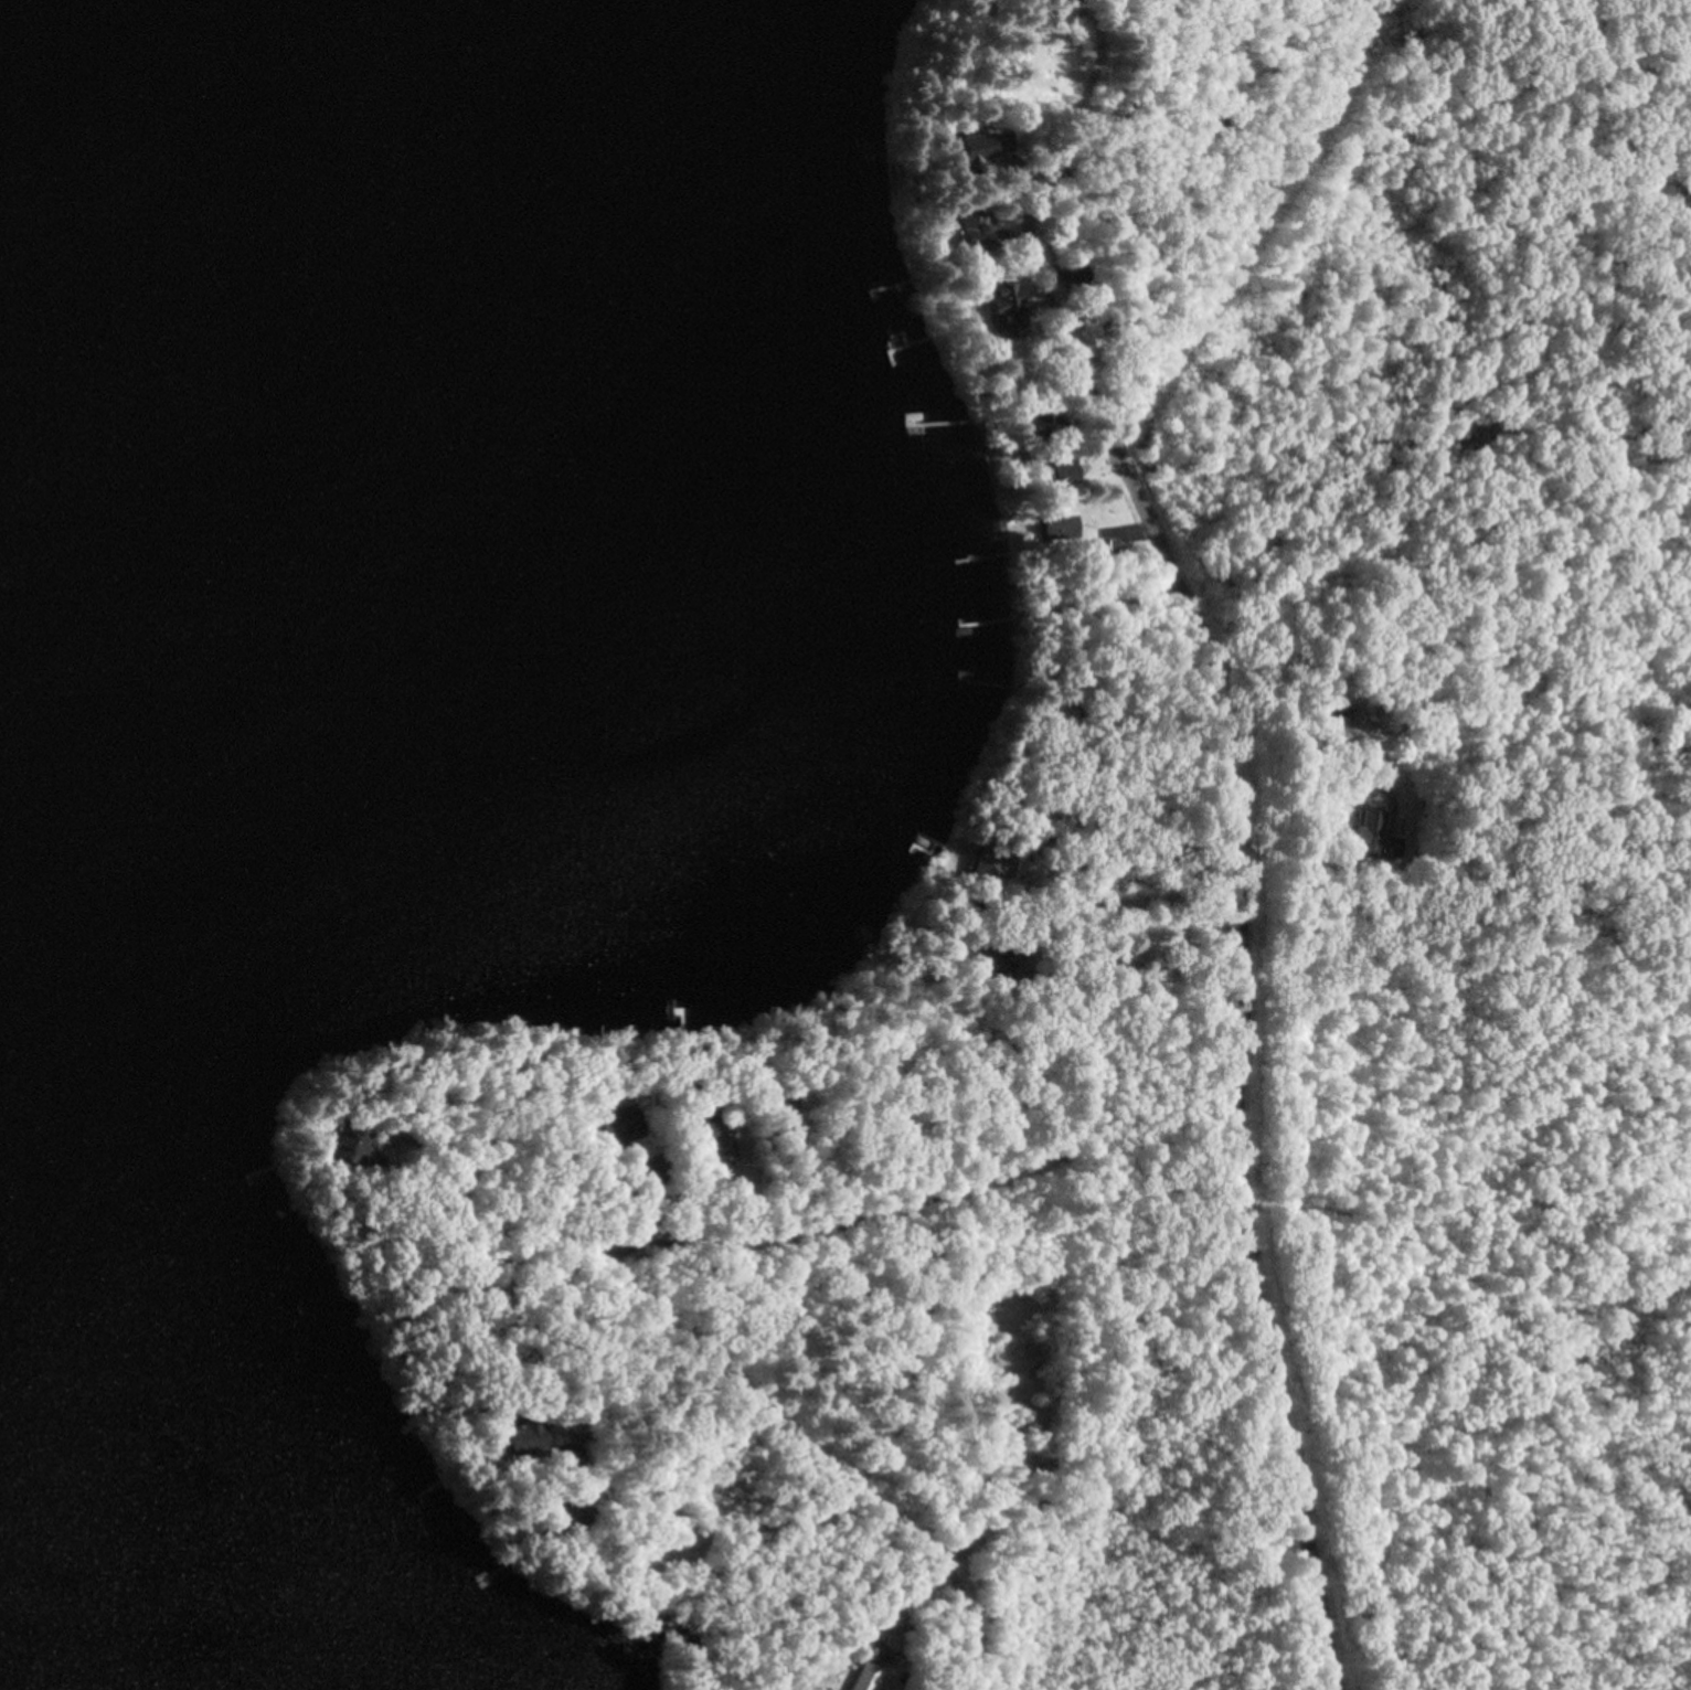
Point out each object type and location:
building: (974, 149)
building: (969, 224)
building: (1001, 306)
building: (1061, 470)
building: (1057, 527)
road: (1118, 551)
road: (1127, 620)
road: (1264, 828)
building: (1369, 831)
road: (793, 1064)
building: (779, 1112)
building: (623, 1125)
road: (451, 1135)
building: (710, 1136)
building: (343, 1144)
road: (677, 1346)
road: (620, 1348)
building: (524, 1435)
road: (736, 1593)

